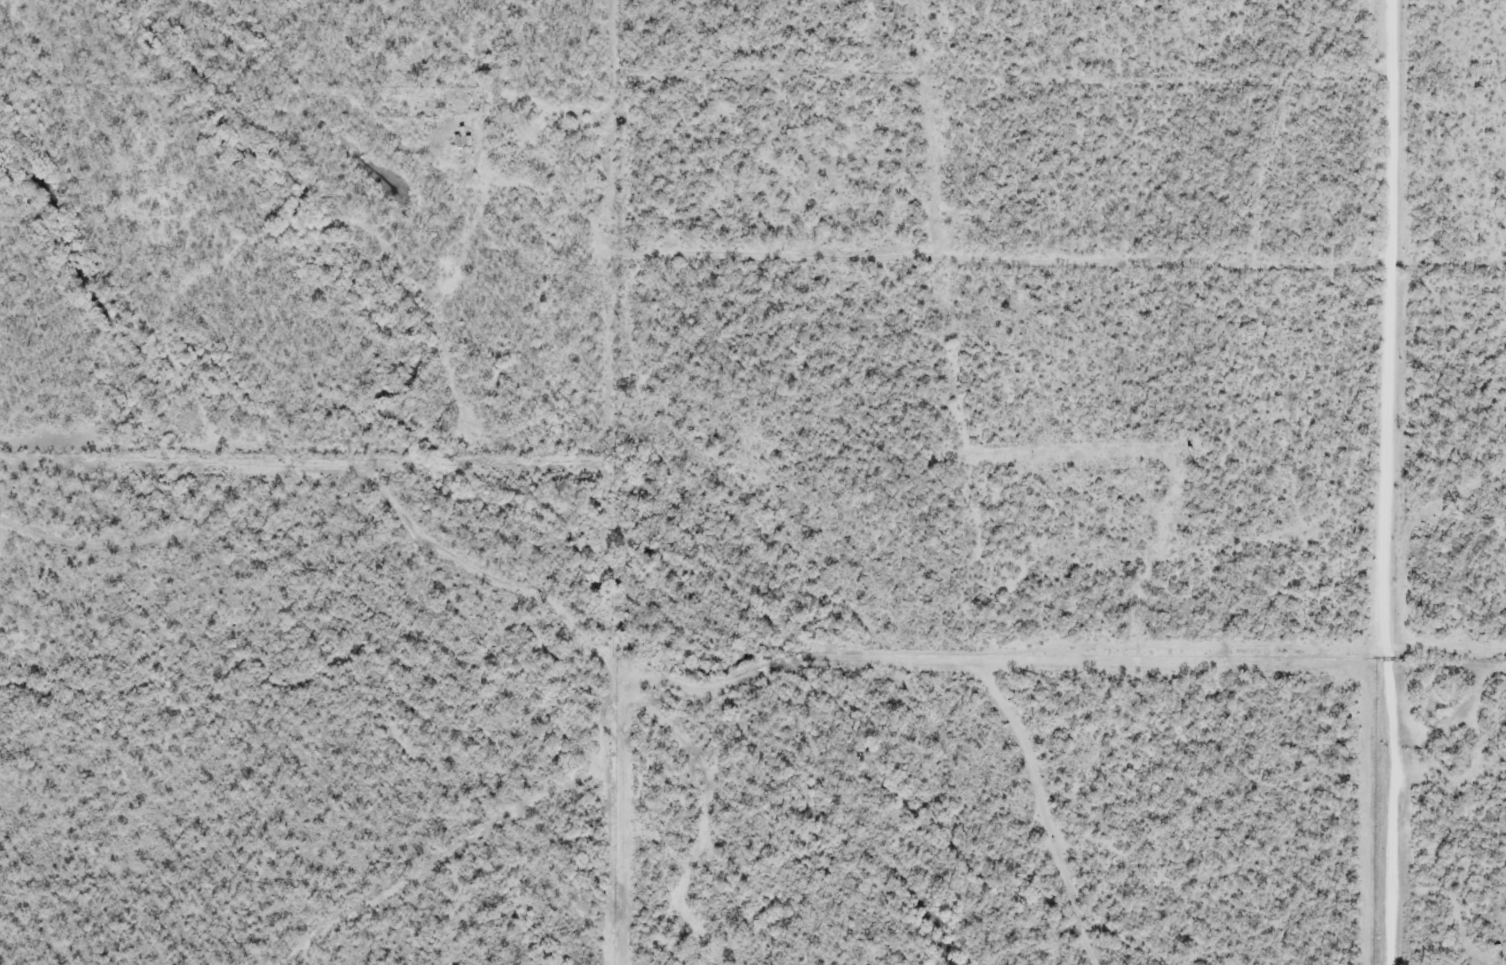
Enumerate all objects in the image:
road: (1384, 482)

